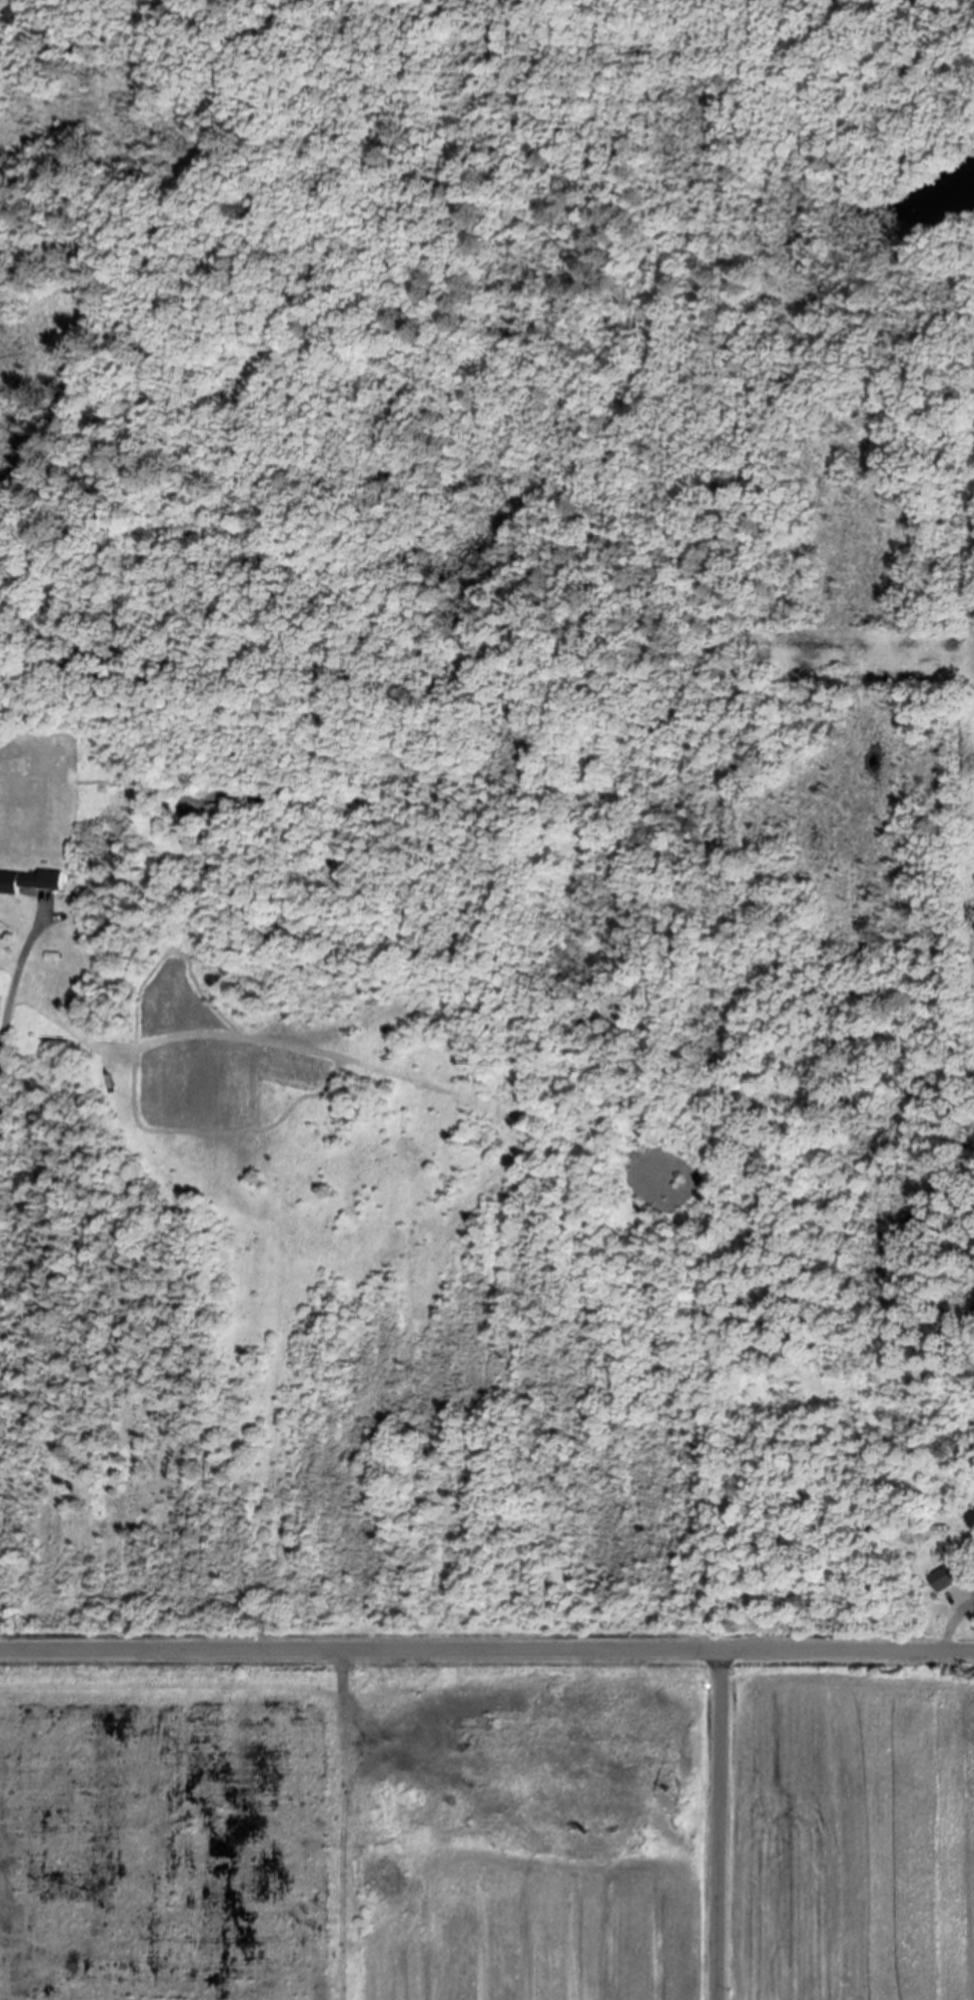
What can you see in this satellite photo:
building: (31, 881)
road: (9, 995)
road: (487, 1648)
road: (719, 1824)

